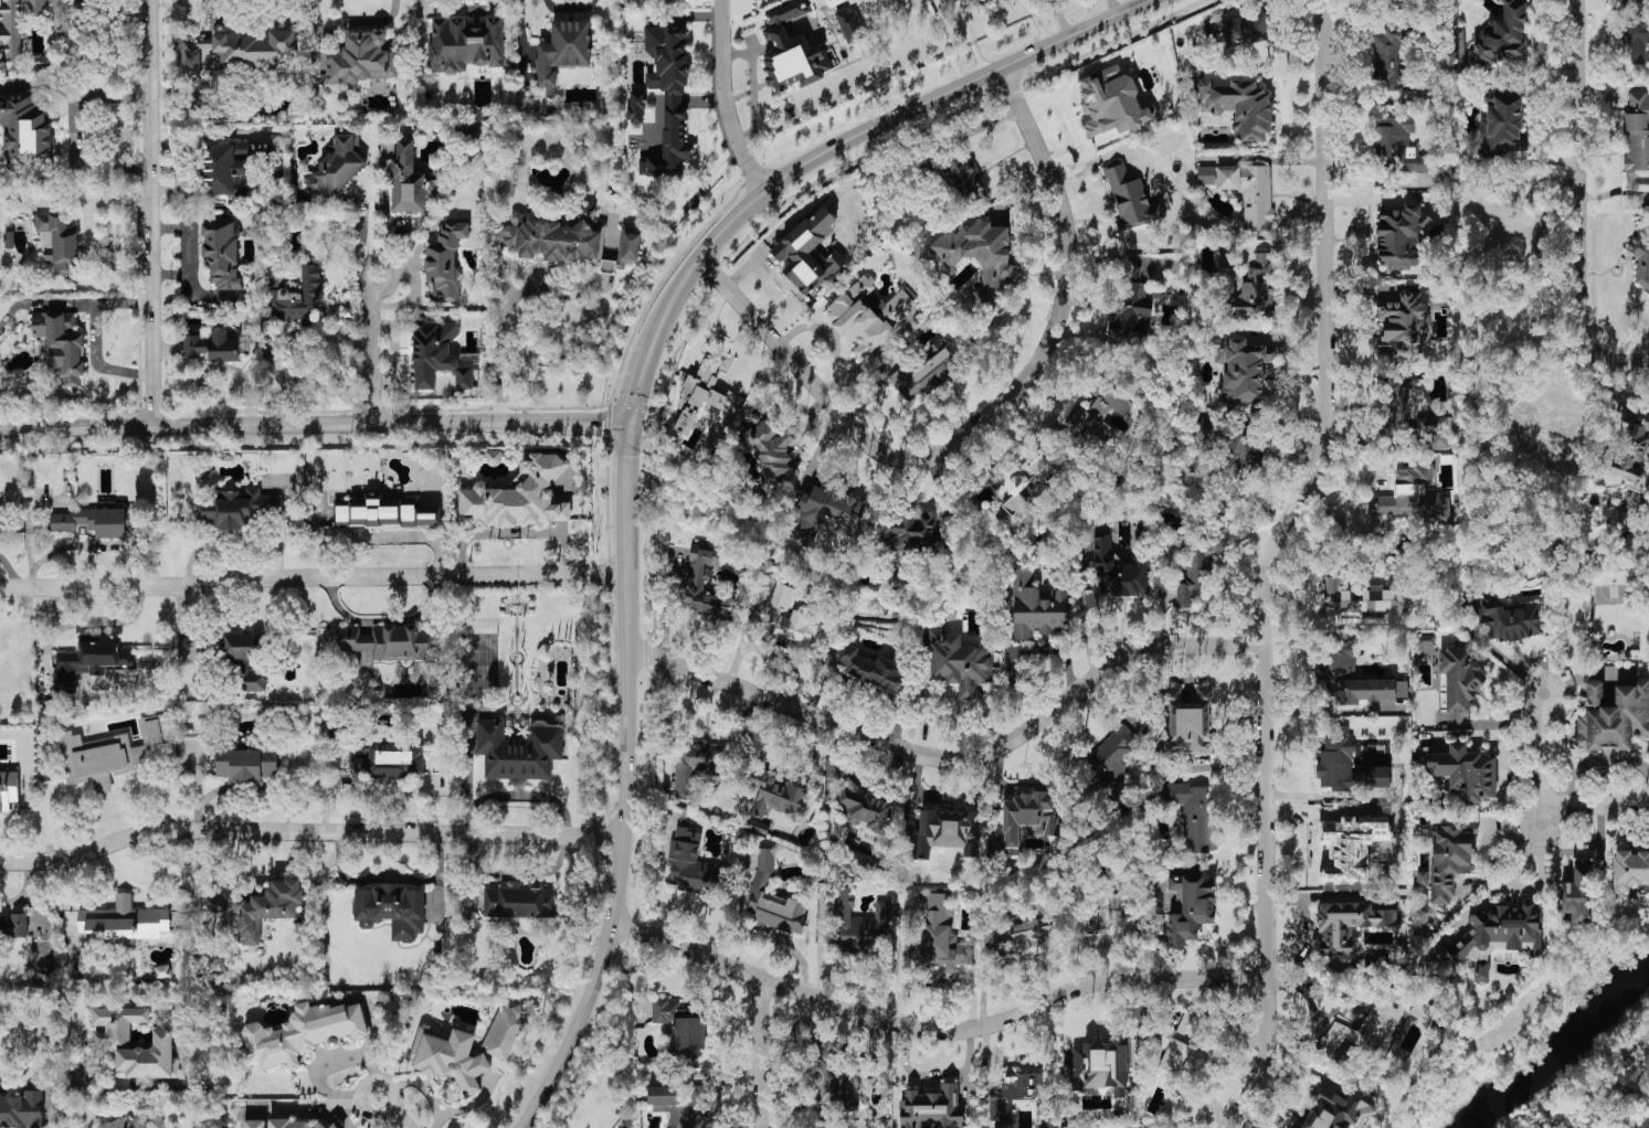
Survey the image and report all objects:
building: (943, 0)
building: (10, 23)
building: (849, 24)
building: (1636, 28)
building: (1245, 29)
building: (1502, 36)
building: (465, 44)
building: (255, 51)
building: (563, 51)
building: (791, 51)
building: (194, 55)
building: (362, 57)
building: (1389, 57)
road: (74, 92)
road: (721, 97)
building: (668, 98)
building: (1111, 102)
building: (1240, 106)
building: (635, 107)
road: (1071, 121)
building: (1502, 124)
building: (25, 126)
building: (1637, 130)
building: (467, 132)
road: (865, 132)
building: (1396, 143)
building: (260, 151)
road: (77, 163)
building: (337, 163)
building: (221, 166)
building: (1206, 173)
building: (411, 179)
building: (963, 179)
building: (241, 182)
building: (1249, 191)
building: (1130, 198)
road: (1578, 205)
road: (149, 214)
building: (1398, 236)
building: (554, 238)
building: (59, 241)
building: (626, 246)
building: (221, 251)
building: (810, 252)
building: (980, 258)
building: (1640, 259)
building: (445, 260)
building: (1256, 289)
building: (296, 298)
building: (1131, 308)
building: (870, 315)
building: (1402, 323)
road: (95, 333)
building: (61, 343)
building: (212, 345)
road: (372, 351)
building: (440, 354)
road: (499, 359)
building: (1241, 369)
building: (923, 372)
road: (635, 384)
building: (1399, 395)
building: (700, 396)
building: (1098, 411)
road: (982, 415)
traffic signals: (625, 424)
building: (1543, 425)
road: (313, 427)
building: (1434, 429)
building: (693, 437)
building: (1632, 443)
building: (1235, 448)
building: (769, 449)
building: (1028, 481)
building: (519, 496)
building: (1412, 496)
road: (290, 506)
building: (239, 507)
building: (385, 512)
building: (824, 512)
building: (96, 519)
building: (911, 532)
road: (234, 534)
road: (1268, 564)
building: (1118, 567)
road: (311, 577)
building: (1194, 577)
building: (1362, 597)
building: (1036, 607)
building: (1471, 607)
road: (383, 616)
building: (789, 617)
road: (1081, 617)
building: (1510, 618)
building: (389, 640)
building: (91, 656)
building: (241, 657)
road: (1505, 660)
building: (959, 661)
building: (869, 667)
building: (1350, 677)
building: (1459, 678)
building: (1613, 715)
building: (1187, 720)
building: (518, 748)
building: (108, 752)
building: (1112, 754)
building: (388, 758)
building: (1335, 758)
road: (1537, 758)
road: (950, 759)
road: (1596, 759)
building: (245, 763)
road: (772, 763)
building: (697, 765)
building: (1465, 770)
building: (1376, 776)
road: (624, 785)
building: (8, 788)
building: (778, 796)
road: (1324, 796)
road: (1595, 805)
building: (865, 809)
building: (1192, 811)
building: (1024, 815)
building: (758, 826)
road: (308, 829)
building: (947, 831)
building: (1351, 844)
building: (1449, 858)
building: (693, 865)
building: (1630, 869)
building: (1421, 877)
road: (1522, 890)
building: (1577, 892)
building: (773, 898)
building: (518, 902)
building: (261, 906)
building: (1187, 907)
building: (391, 909)
building: (121, 921)
building: (859, 922)
building: (13, 924)
building: (1347, 924)
building: (1495, 934)
building: (1022, 935)
building: (940, 936)
building: (1370, 1024)
building: (680, 1026)
building: (504, 1029)
road: (934, 1030)
building: (302, 1032)
building: (117, 1044)
river: (1561, 1050)
building: (1180, 1051)
road: (758, 1052)
building: (450, 1056)
building: (1103, 1066)
building: (833, 1073)
building: (1013, 1093)
road: (68, 1096)
building: (680, 1105)
building: (932, 1108)
building: (21, 1109)
building: (1332, 1109)
road: (52, 1110)
road: (392, 1113)
building: (116, 1122)
building: (254, 1122)
building: (292, 1122)
building: (1641, 1122)
building: (334, 1126)

